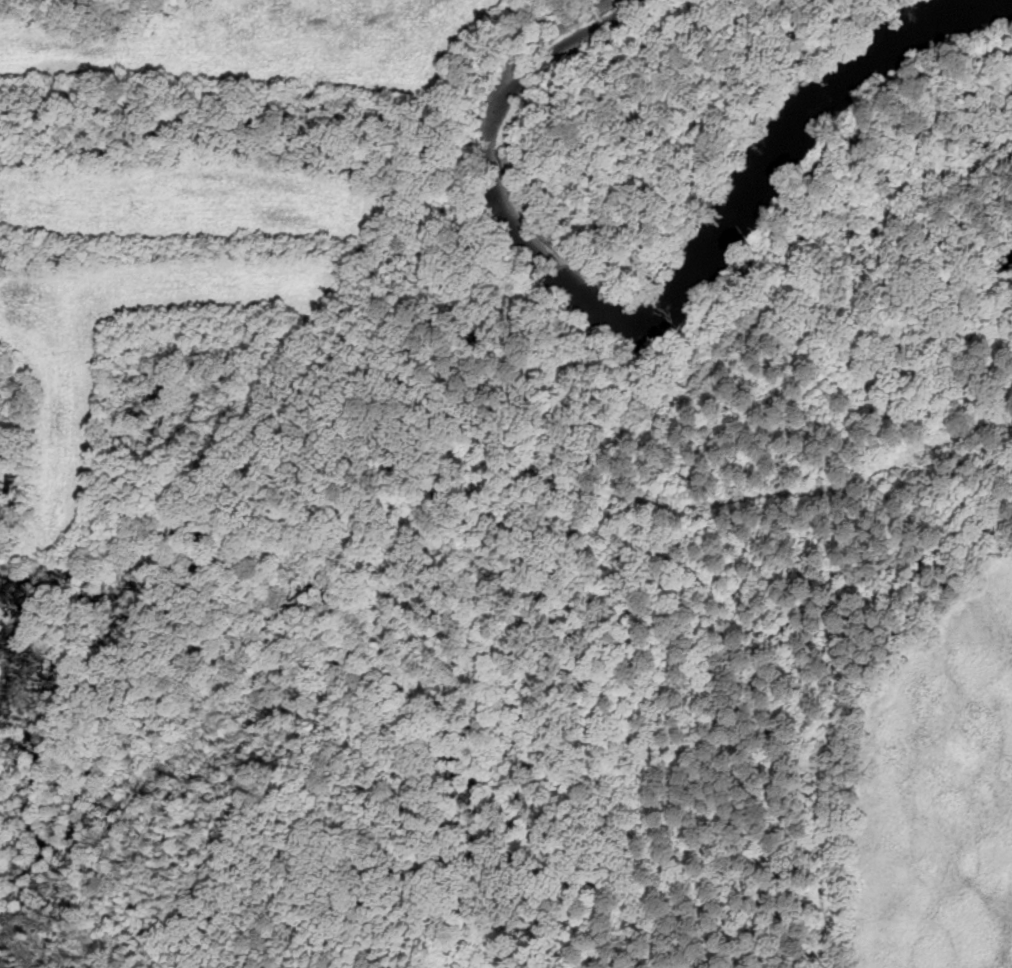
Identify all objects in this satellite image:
road: (533, 472)
road: (192, 486)
road: (838, 687)

